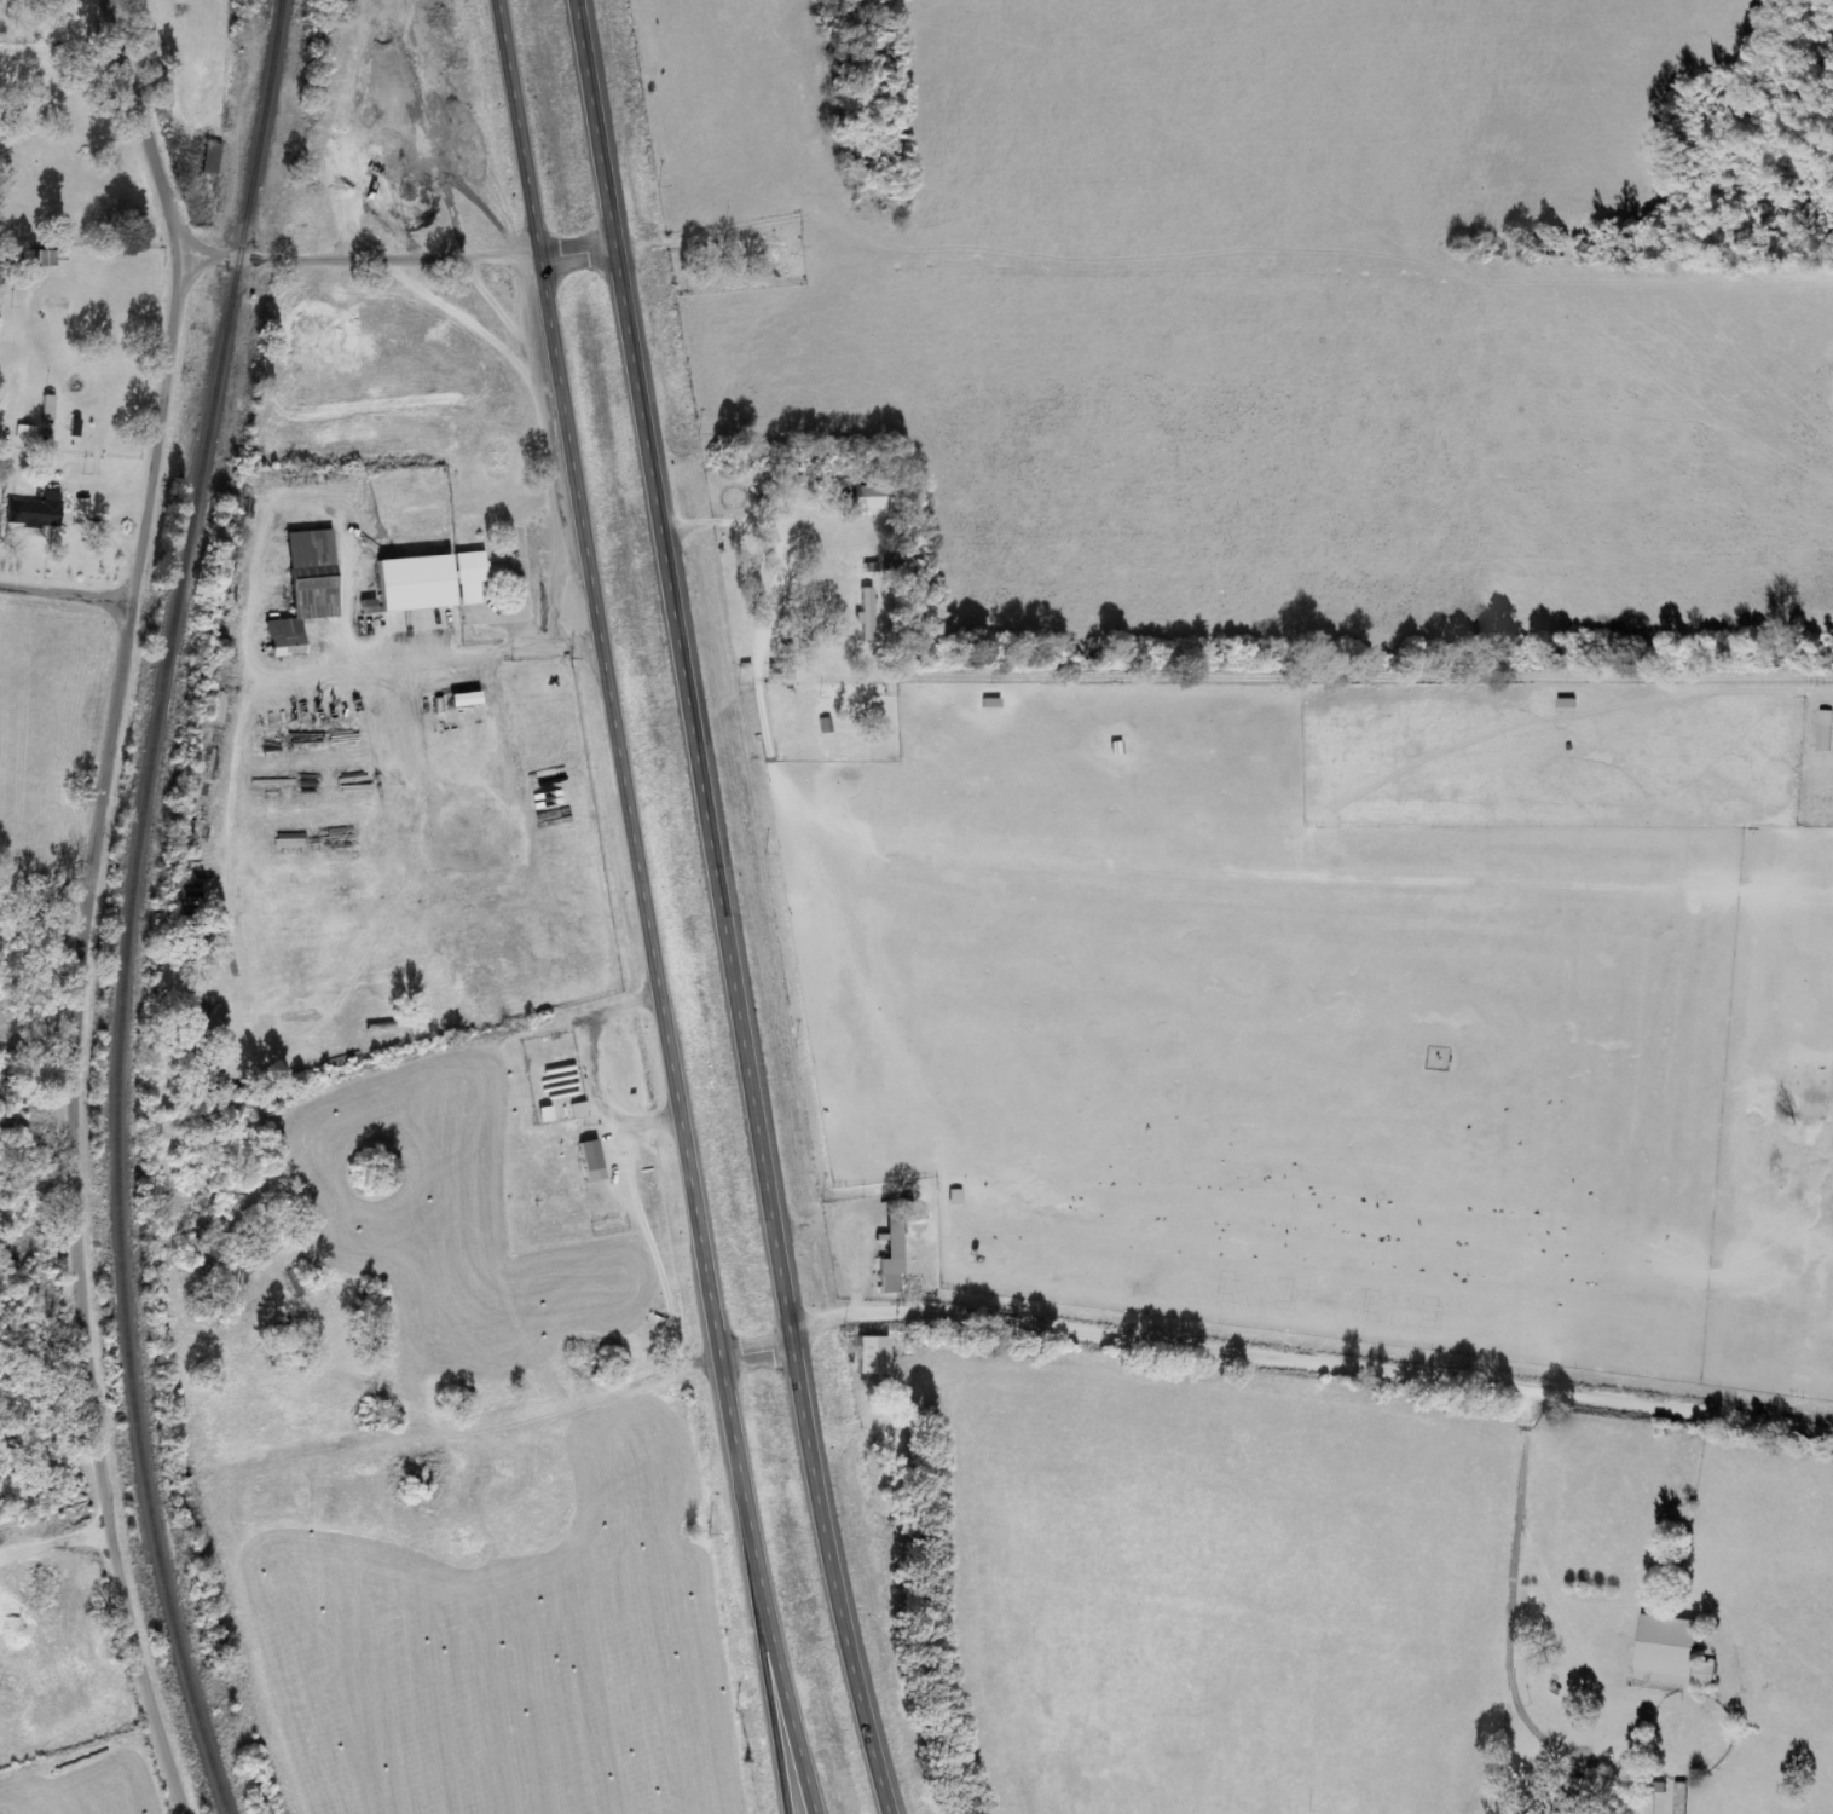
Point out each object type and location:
building: (1, 0)
building: (213, 158)
road: (398, 255)
building: (50, 406)
building: (872, 498)
building: (36, 512)
building: (474, 567)
building: (420, 584)
building: (308, 590)
road: (65, 600)
building: (371, 607)
building: (868, 614)
building: (782, 672)
building: (469, 698)
building: (1826, 730)
road: (88, 903)
railway: (128, 907)
road: (654, 908)
road: (728, 908)
building: (579, 1110)
building: (547, 1114)
building: (594, 1161)
building: (959, 1197)
building: (895, 1250)
building: (877, 1356)
road: (1311, 1359)
road: (1532, 1604)
building: (1671, 1650)
road: (780, 1689)
building: (1683, 1798)
building: (1571, 1803)

